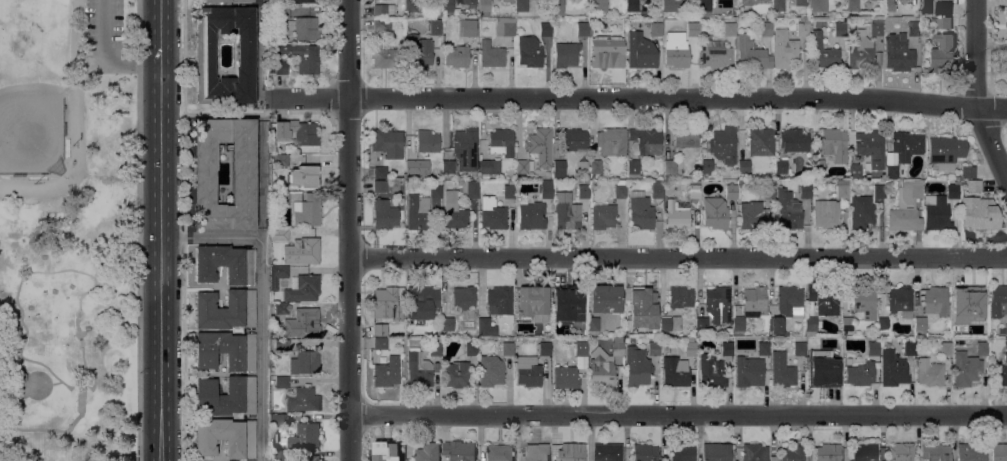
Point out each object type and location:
building: (224, 0)
building: (304, 1)
building: (751, 1)
building: (468, 2)
building: (511, 2)
building: (801, 2)
building: (413, 5)
building: (447, 5)
building: (521, 5)
building: (597, 5)
building: (672, 5)
building: (707, 5)
building: (778, 5)
building: (818, 5)
building: (888, 6)
building: (484, 7)
building: (555, 7)
building: (632, 8)
building: (852, 8)
building: (383, 9)
building: (944, 9)
building: (281, 11)
building: (1006, 15)
building: (382, 23)
building: (505, 26)
building: (944, 26)
building: (304, 27)
building: (434, 27)
building: (467, 27)
building: (692, 27)
building: (803, 27)
building: (876, 27)
building: (545, 28)
building: (656, 28)
building: (730, 28)
building: (766, 28)
building: (840, 28)
building: (913, 28)
building: (584, 29)
road: (77, 32)
parking lot: (103, 36)
building: (784, 48)
road: (262, 49)
building: (640, 50)
building: (676, 50)
building: (205, 51)
building: (418, 51)
building: (529, 51)
building: (606, 51)
building: (823, 51)
building: (861, 51)
building: (714, 52)
building: (898, 52)
building: (491, 53)
building: (384, 54)
building: (566, 54)
building: (752, 54)
building: (940, 54)
building: (457, 55)
building: (302, 56)
road: (104, 60)
building: (280, 66)
park: (31, 85)
park: (32, 85)
road: (976, 92)
road: (637, 95)
road: (220, 112)
building: (280, 127)
building: (306, 133)
building: (686, 137)
building: (574, 138)
building: (646, 140)
building: (794, 140)
building: (427, 141)
building: (501, 141)
building: (611, 141)
building: (760, 141)
building: (388, 142)
building: (723, 144)
building: (834, 144)
building: (907, 144)
building: (540, 145)
building: (871, 146)
road: (78, 147)
building: (466, 148)
building: (946, 149)
building: (280, 159)
building: (698, 163)
building: (817, 165)
building: (414, 166)
building: (448, 166)
building: (583, 166)
building: (596, 166)
building: (707, 166)
building: (781, 166)
building: (488, 167)
building: (523, 167)
building: (743, 167)
building: (559, 168)
building: (670, 168)
building: (633, 169)
building: (892, 170)
building: (855, 171)
building: (968, 171)
building: (380, 172)
building: (306, 174)
building: (681, 176)
road: (262, 180)
building: (511, 181)
building: (747, 182)
building: (972, 184)
building: (243, 186)
building: (546, 188)
building: (620, 188)
building: (657, 188)
building: (768, 188)
building: (470, 189)
building: (731, 189)
building: (583, 190)
building: (842, 190)
building: (879, 190)
building: (953, 190)
building: (436, 191)
building: (510, 191)
building: (694, 191)
building: (805, 191)
building: (282, 195)
building: (906, 205)
building: (383, 206)
building: (307, 210)
building: (788, 210)
building: (454, 211)
building: (861, 211)
building: (419, 212)
building: (641, 212)
building: (715, 212)
building: (979, 212)
building: (492, 213)
building: (677, 213)
building: (827, 213)
building: (937, 213)
building: (530, 214)
building: (567, 214)
building: (603, 215)
building: (753, 215)
park: (67, 230)
road: (138, 230)
road: (160, 230)
road: (185, 230)
road: (349, 230)
building: (279, 234)
building: (307, 249)
road: (678, 255)
building: (226, 263)
road: (81, 271)
building: (277, 275)
building: (302, 287)
building: (680, 296)
building: (971, 296)
road: (262, 297)
building: (385, 298)
building: (605, 298)
building: (824, 299)
building: (499, 300)
building: (571, 300)
building: (789, 300)
building: (900, 300)
building: (936, 300)
building: (998, 300)
building: (864, 301)
building: (421, 302)
building: (533, 302)
building: (718, 303)
building: (751, 305)
building: (459, 306)
building: (643, 306)
building: (226, 309)
building: (281, 310)
building: (702, 322)
building: (306, 323)
building: (593, 323)
building: (671, 323)
building: (884, 323)
building: (920, 323)
building: (956, 323)
building: (774, 324)
building: (847, 324)
building: (812, 325)
building: (557, 326)
building: (486, 327)
building: (980, 328)
building: (380, 329)
building: (1003, 329)
building: (787, 333)
building: (380, 342)
building: (1006, 343)
building: (282, 344)
building: (435, 346)
building: (654, 346)
building: (836, 346)
building: (910, 346)
building: (982, 346)
building: (763, 347)
building: (873, 347)
building: (472, 348)
building: (507, 348)
building: (545, 348)
building: (581, 348)
building: (618, 348)
building: (691, 348)
building: (727, 348)
building: (800, 348)
building: (946, 348)
building: (226, 350)
building: (305, 361)
road: (20, 363)
building: (637, 366)
building: (601, 367)
building: (819, 368)
building: (966, 368)
building: (1001, 368)
building: (418, 369)
building: (893, 369)
building: (491, 370)
building: (528, 370)
building: (749, 370)
building: (782, 370)
building: (675, 371)
building: (711, 371)
building: (930, 371)
building: (386, 372)
building: (861, 373)
building: (456, 374)
building: (16, 376)
building: (565, 376)
road: (55, 381)
building: (281, 381)
road: (81, 396)
building: (226, 396)
building: (303, 400)
road: (678, 412)
building: (279, 419)
building: (226, 436)
building: (305, 436)
building: (273, 438)
building: (459, 450)
building: (386, 451)
building: (716, 451)
building: (864, 451)
building: (902, 451)
building: (971, 451)
building: (429, 452)
building: (500, 452)
building: (536, 452)
building: (573, 452)
building: (607, 452)
building: (645, 452)
building: (682, 452)
building: (755, 452)
building: (791, 452)
building: (828, 452)
building: (936, 452)
building: (1001, 452)
building: (282, 456)
building: (309, 458)

